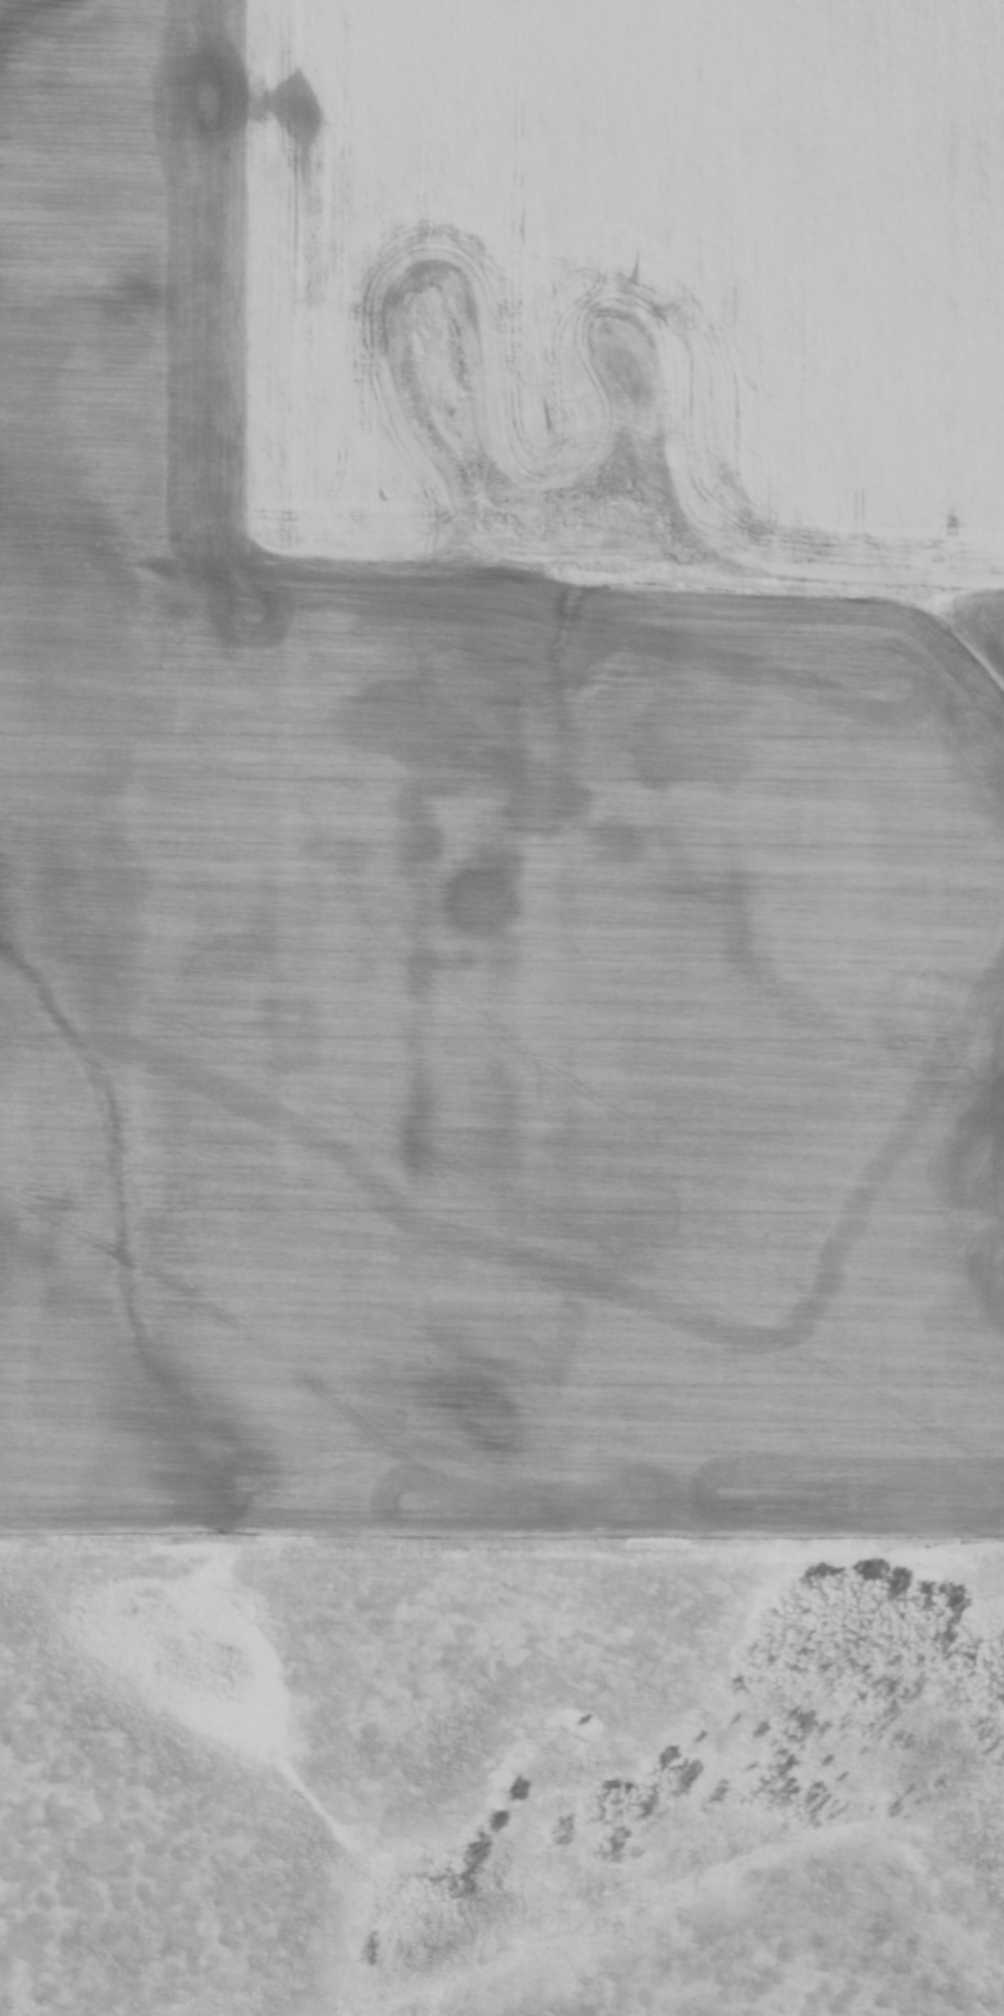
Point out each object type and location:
crop: (449, 958)

